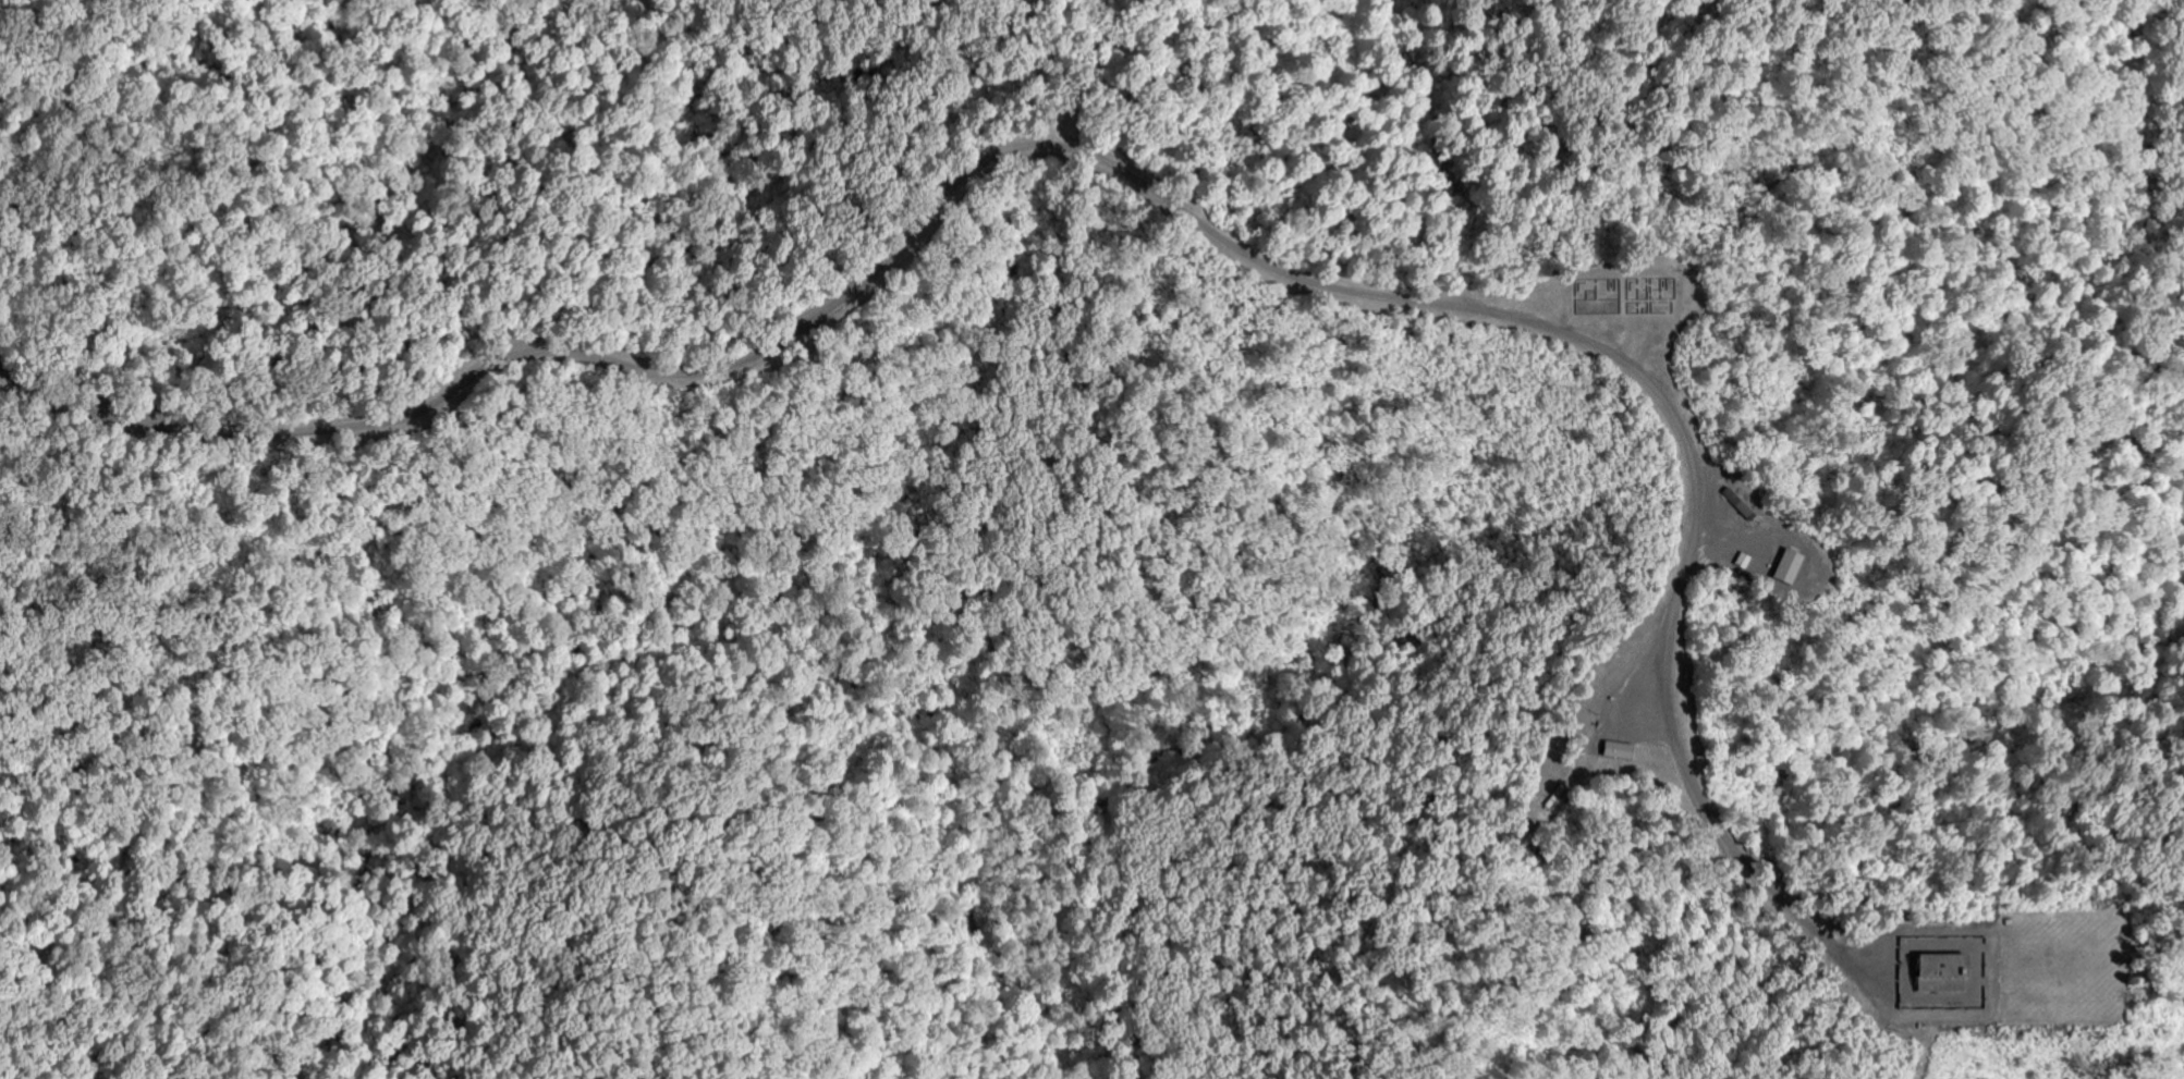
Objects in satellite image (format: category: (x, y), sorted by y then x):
road: (1126, 174)
building: (1789, 565)
building: (1619, 749)

